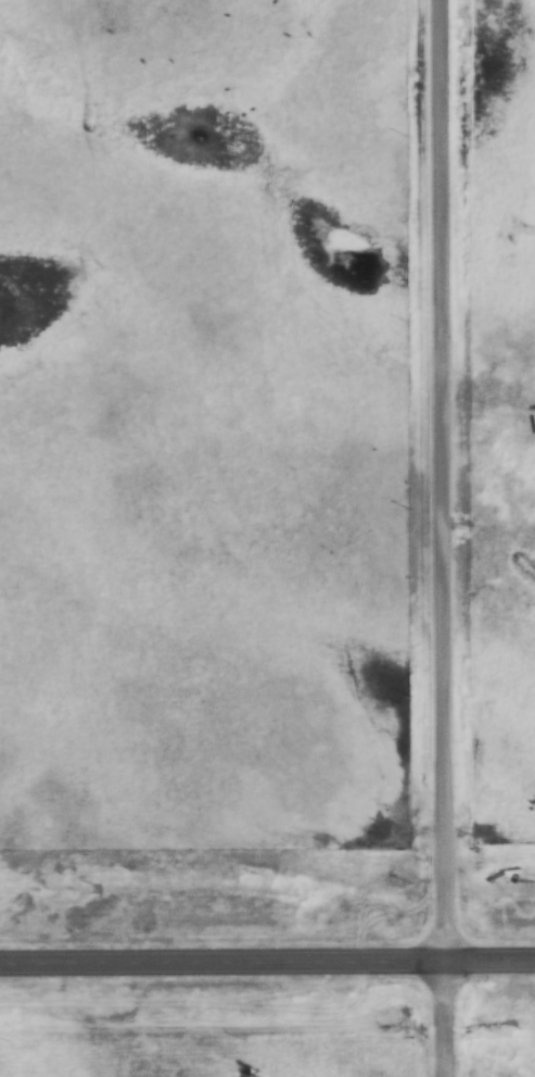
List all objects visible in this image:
road: (442, 538)
road: (267, 931)

